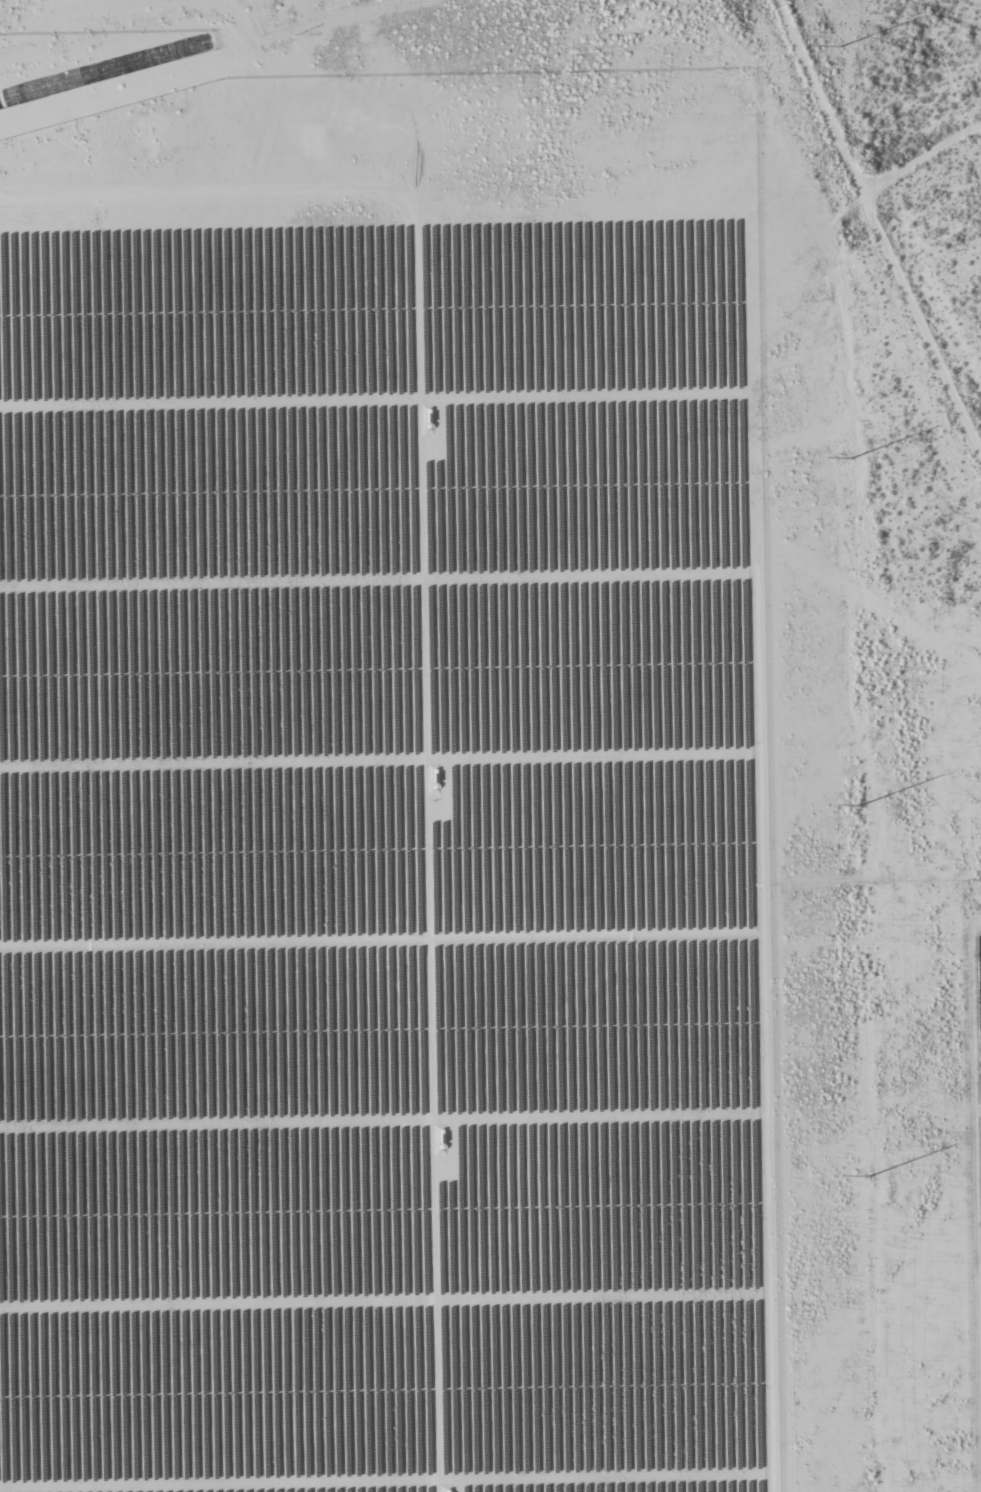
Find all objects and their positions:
power tower: (840, 48)
road: (923, 155)
road: (883, 224)
power tower: (851, 459)
power tower: (860, 806)
power tower: (868, 1177)

